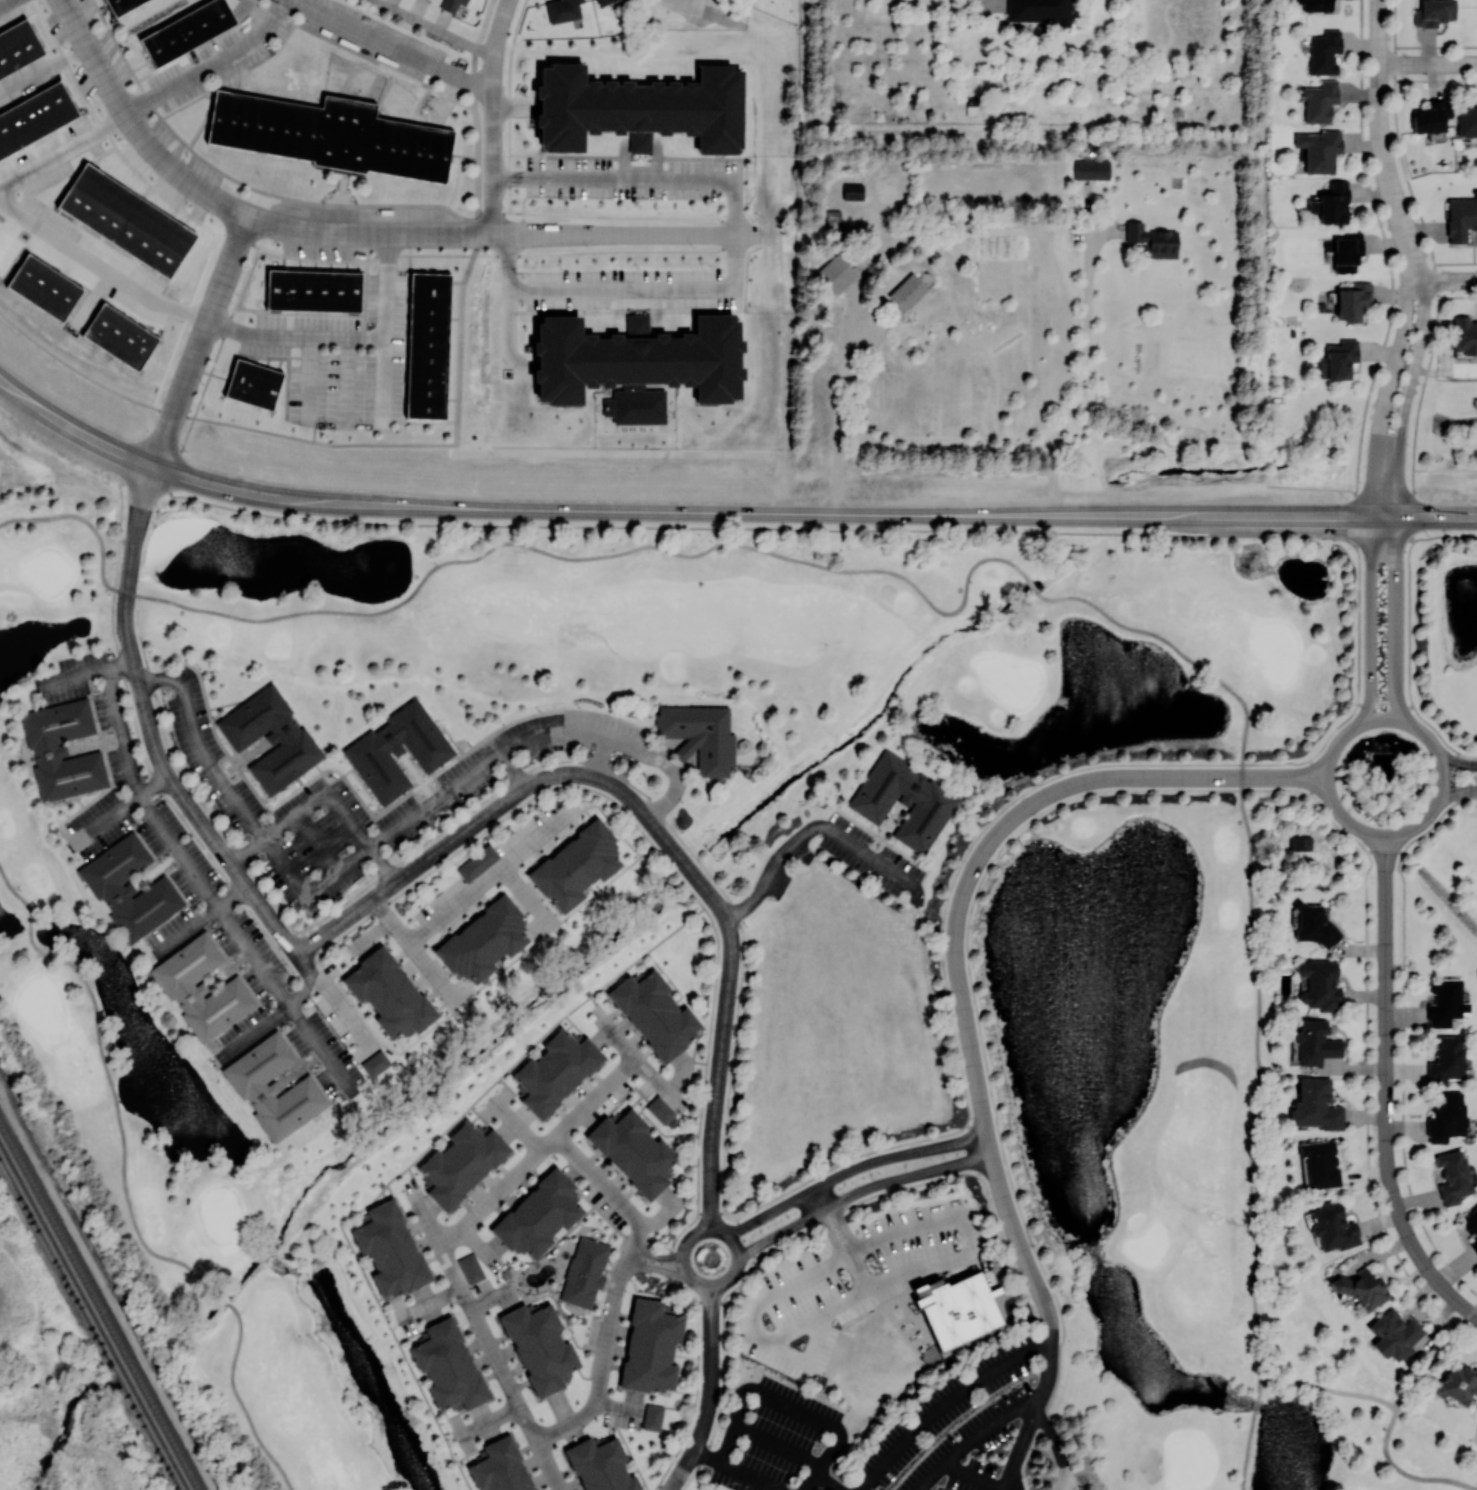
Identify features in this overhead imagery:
road: (994, 0)
road: (3, 1)
building: (604, 2)
building: (451, 4)
road: (680, 5)
building: (1315, 5)
building: (120, 7)
building: (562, 10)
building: (1039, 11)
building: (1433, 12)
road: (433, 29)
building: (185, 33)
road: (394, 45)
building: (16, 48)
building: (1324, 52)
road: (209, 63)
road: (1428, 63)
road: (43, 66)
building: (1319, 101)
road: (515, 106)
building: (641, 108)
road: (493, 116)
building: (1431, 116)
building: (34, 119)
building: (1467, 120)
road: (134, 127)
building: (327, 133)
road: (1381, 142)
building: (1319, 150)
road: (563, 155)
building: (1091, 169)
road: (500, 176)
road: (649, 178)
building: (852, 191)
road: (0, 199)
building: (1331, 203)
road: (1089, 208)
road: (652, 217)
building: (1461, 218)
building: (129, 219)
road: (479, 221)
road: (501, 222)
road: (36, 224)
road: (1105, 232)
road: (369, 233)
road: (615, 234)
building: (1153, 240)
building: (1347, 250)
road: (385, 253)
building: (836, 273)
road: (1446, 280)
building: (48, 288)
road: (649, 288)
building: (907, 291)
building: (310, 293)
road: (510, 298)
building: (1353, 301)
road: (226, 324)
road: (312, 335)
building: (122, 337)
building: (1465, 337)
road: (200, 341)
road: (381, 347)
building: (427, 348)
road: (845, 360)
building: (637, 363)
road: (211, 367)
road: (1085, 376)
road: (308, 377)
road: (345, 379)
building: (251, 387)
road: (1385, 396)
road: (1405, 396)
road: (71, 430)
road: (371, 444)
road: (1382, 495)
road: (811, 512)
road: (87, 521)
road: (514, 524)
road: (594, 557)
road: (1031, 584)
road: (1371, 620)
road: (1394, 620)
road: (1178, 651)
road: (120, 664)
road: (75, 676)
road: (158, 678)
parking lot: (96, 705)
road: (151, 730)
building: (701, 734)
building: (291, 736)
building: (270, 739)
building: (396, 749)
building: (686, 749)
building: (60, 750)
building: (362, 751)
road: (497, 752)
building: (42, 753)
parking lot: (209, 753)
road: (601, 754)
fountain: (1381, 754)
road: (1455, 760)
road: (515, 768)
parking lot: (467, 781)
road: (675, 783)
road: (229, 792)
road: (1456, 794)
building: (903, 800)
building: (935, 801)
road: (124, 806)
road: (304, 808)
park: (472, 812)
road: (349, 819)
road: (1009, 822)
parking lot: (97, 823)
road: (652, 824)
road: (1387, 835)
road: (318, 841)
road: (253, 842)
building: (1301, 844)
parking lot: (317, 845)
road: (175, 847)
parking lot: (179, 849)
road: (869, 854)
parking lot: (870, 857)
building: (477, 862)
building: (576, 865)
road: (381, 866)
road: (770, 868)
road: (335, 871)
road: (486, 879)
building: (128, 888)
building: (159, 891)
road: (524, 895)
road: (233, 896)
building: (1313, 924)
road: (190, 927)
parking lot: (173, 931)
building: (483, 941)
road: (413, 947)
parking lot: (255, 954)
building: (1319, 985)
building: (201, 990)
building: (231, 993)
road: (303, 993)
building: (388, 993)
road: (332, 1000)
park: (1118, 1003)
building: (1445, 1003)
building: (652, 1013)
road: (255, 1030)
parking lot: (243, 1035)
road: (317, 1042)
building: (1315, 1042)
parking lot: (324, 1054)
building: (1446, 1060)
road: (642, 1061)
building: (375, 1063)
building: (557, 1072)
road: (1259, 1077)
road: (110, 1079)
building: (272, 1090)
road: (1386, 1090)
building: (301, 1091)
road: (596, 1095)
building: (1316, 1105)
building: (661, 1109)
building: (1446, 1116)
road: (517, 1125)
building: (633, 1152)
building: (1321, 1163)
building: (460, 1164)
road: (850, 1169)
building: (1452, 1176)
road: (498, 1191)
road: (859, 1191)
road: (817, 1198)
building: (539, 1215)
road: (425, 1217)
road: (844, 1225)
building: (1471, 1225)
road: (829, 1232)
road: (1017, 1239)
road: (971, 1247)
building: (388, 1252)
road: (657, 1253)
road: (655, 1266)
building: (471, 1268)
building: (583, 1273)
road: (613, 1285)
road: (702, 1286)
building: (1359, 1290)
road: (223, 1298)
railway: (99, 1306)
road: (1474, 1308)
building: (960, 1310)
railway: (93, 1317)
building: (1394, 1334)
building: (649, 1347)
building: (539, 1349)
road: (1434, 1359)
road: (499, 1365)
building: (447, 1367)
road: (1046, 1378)
building: (1456, 1383)
road: (1260, 1386)
road: (710, 1387)
road: (1331, 1389)
road: (240, 1402)
road: (945, 1402)
road: (1256, 1404)
road: (795, 1406)
building: (652, 1417)
road: (488, 1418)
road: (735, 1419)
parking lot: (953, 1426)
parking lot: (776, 1436)
road: (975, 1437)
road: (779, 1443)
road: (1056, 1448)
road: (1019, 1449)
road: (833, 1450)
road: (1247, 1451)
road: (706, 1452)
building: (600, 1466)
building: (499, 1468)
road: (1086, 1473)
road: (1403, 1473)
road: (749, 1474)
road: (975, 1475)
road: (1036, 1478)
road: (809, 1481)
road: (828, 1481)
road: (670, 1485)
road: (1004, 1489)
road: (1005, 1489)

